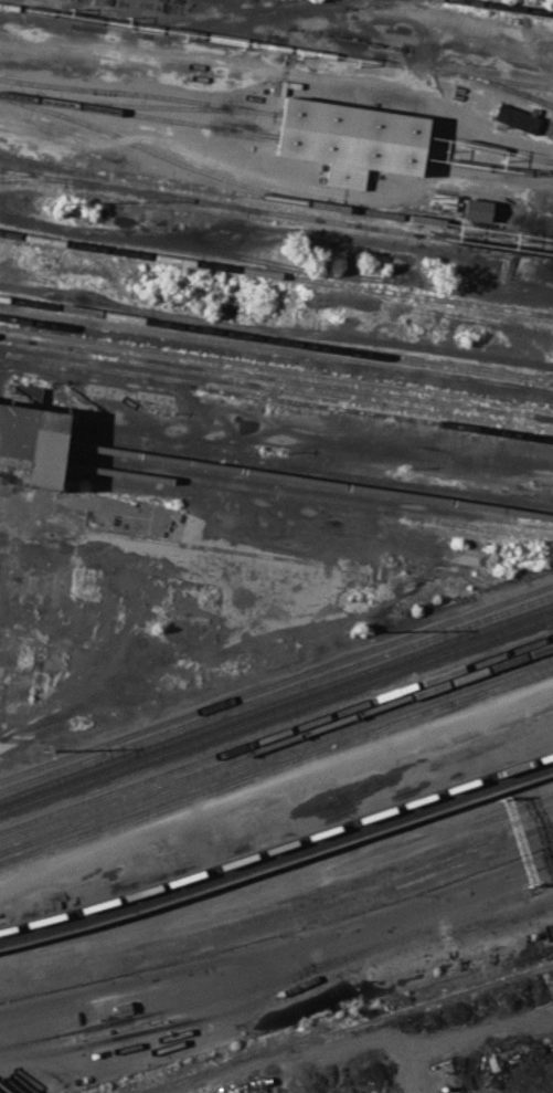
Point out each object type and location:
railway: (512, 6)
railway: (235, 18)
railway: (278, 45)
building: (514, 117)
railway: (276, 122)
railway: (216, 126)
building: (350, 139)
railway: (30, 179)
railway: (276, 197)
building: (476, 209)
railway: (276, 211)
railway: (276, 274)
railway: (276, 340)
railway: (276, 349)
railway: (276, 358)
railway: (276, 366)
railway: (276, 376)
railway: (276, 386)
building: (24, 395)
railway: (276, 398)
building: (30, 443)
railway: (308, 467)
railway: (307, 481)
railway: (306, 491)
railway: (306, 501)
road: (2, 568)
railway: (277, 684)
railway: (276, 692)
railway: (276, 701)
railway: (276, 712)
railway: (276, 733)
railway: (276, 743)
railway: (276, 754)
railway: (276, 764)
railway: (277, 845)
railway: (277, 858)
road: (279, 948)
railway: (343, 1028)

